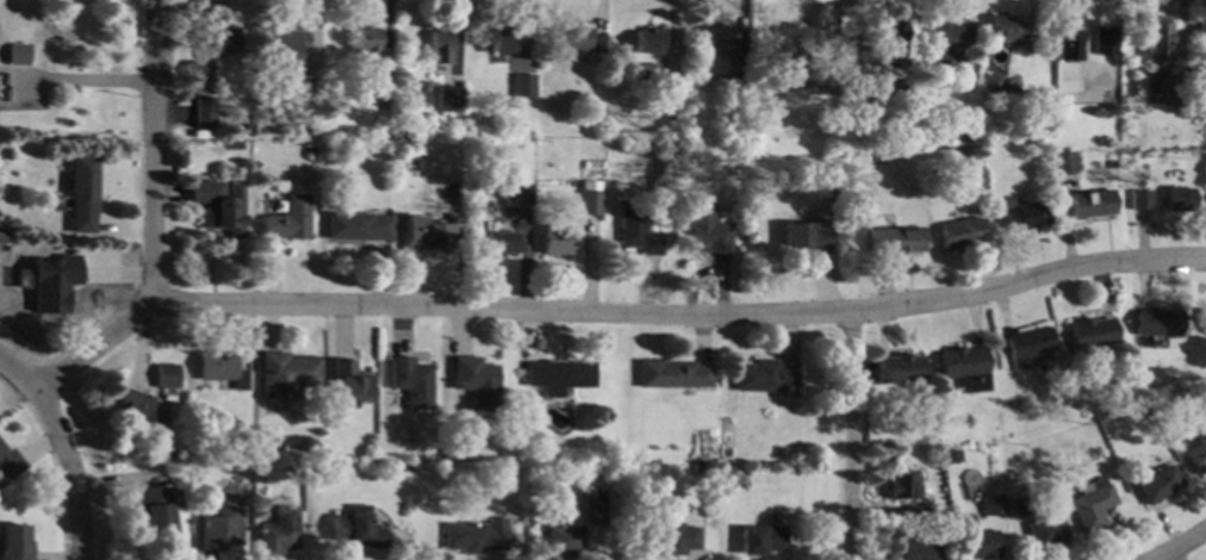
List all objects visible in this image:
building: (1003, 29)
building: (888, 32)
building: (1201, 37)
building: (574, 38)
building: (713, 38)
building: (944, 38)
building: (1068, 38)
building: (222, 39)
building: (365, 39)
building: (502, 41)
building: (646, 41)
building: (1104, 42)
building: (1156, 42)
building: (599, 43)
building: (439, 45)
building: (792, 45)
building: (287, 48)
building: (18, 55)
building: (199, 63)
road: (7, 73)
building: (644, 75)
road: (81, 80)
building: (796, 81)
building: (386, 82)
building: (891, 83)
building: (991, 83)
building: (523, 85)
building: (736, 85)
building: (1067, 86)
building: (310, 88)
building: (1154, 88)
building: (449, 98)
building: (741, 101)
building: (204, 111)
building: (406, 116)
building: (965, 135)
building: (235, 144)
building: (671, 145)
building: (311, 147)
building: (1145, 155)
building: (1063, 163)
building: (1113, 164)
building: (82, 193)
building: (831, 193)
building: (516, 194)
building: (590, 198)
building: (1139, 199)
building: (1177, 199)
building: (1090, 204)
building: (220, 207)
building: (1024, 214)
building: (288, 218)
road: (151, 222)
building: (358, 226)
building: (636, 229)
building: (707, 230)
building: (962, 232)
building: (2, 235)
building: (424, 235)
building: (806, 235)
building: (555, 239)
building: (901, 239)
building: (499, 242)
building: (52, 284)
road: (680, 316)
building: (1157, 322)
building: (1205, 322)
building: (1089, 332)
building: (1025, 346)
building: (220, 367)
building: (965, 367)
building: (899, 368)
road: (19, 371)
building: (288, 371)
building: (671, 373)
building: (166, 374)
building: (559, 374)
building: (763, 375)
building: (410, 381)
building: (474, 381)
building: (347, 382)
building: (564, 406)
building: (139, 413)
building: (928, 433)
road: (850, 435)
building: (272, 449)
building: (199, 450)
building: (781, 453)
building: (447, 455)
building: (951, 455)
building: (1196, 455)
building: (174, 456)
building: (10, 461)
road: (72, 471)
building: (613, 472)
building: (727, 472)
building: (1158, 485)
building: (900, 486)
building: (993, 504)
building: (1092, 504)
building: (1019, 506)
building: (155, 508)
building: (595, 508)
building: (915, 512)
building: (220, 523)
building: (356, 528)
building: (278, 530)
building: (1046, 531)
building: (474, 535)
building: (669, 537)
building: (761, 539)
building: (562, 540)
building: (952, 540)
building: (14, 542)
building: (983, 546)
road: (1179, 546)
building: (914, 550)

